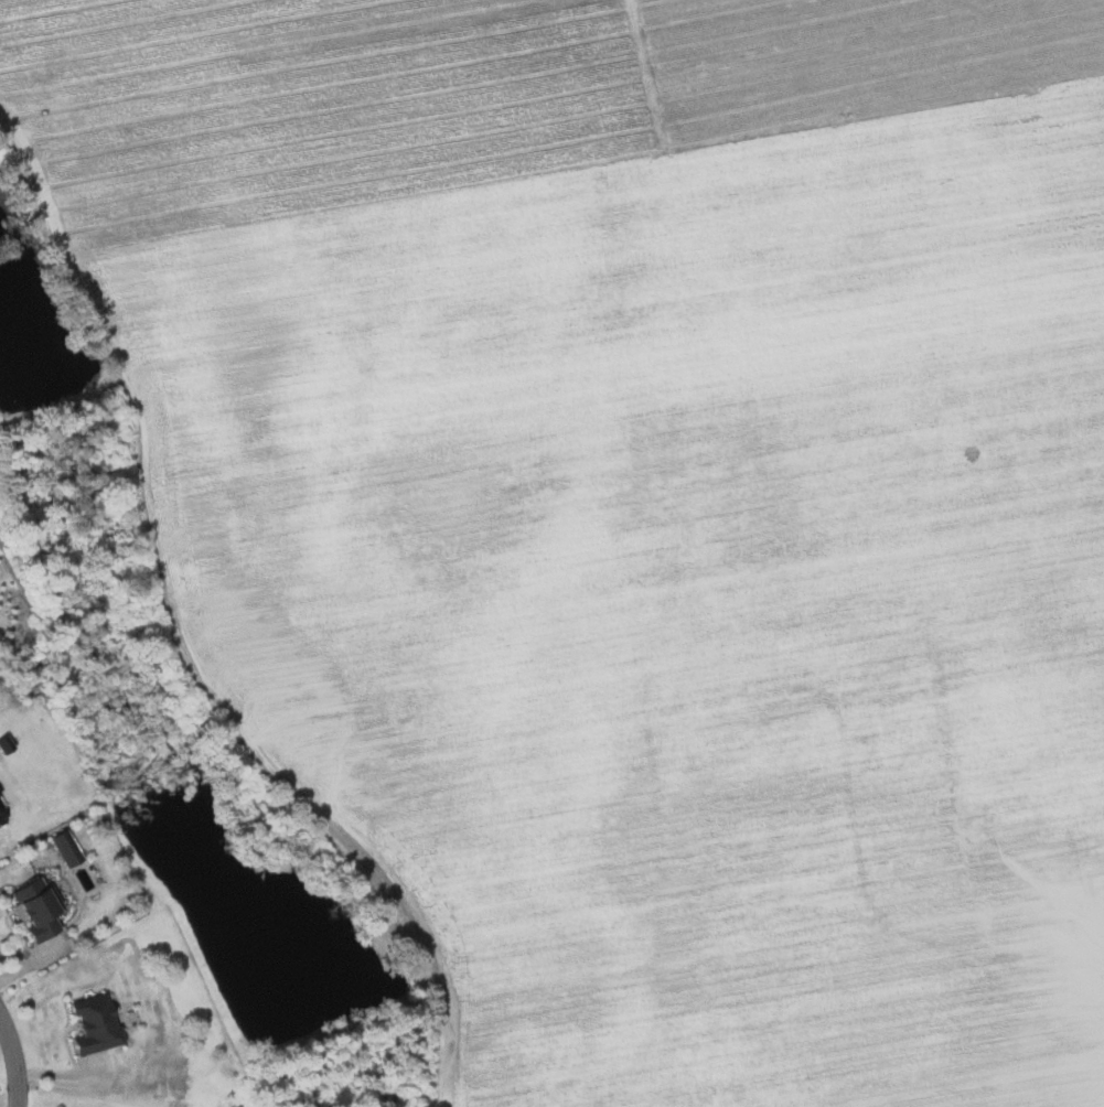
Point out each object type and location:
building: (1, 804)
building: (1, 817)
building: (0, 823)
building: (65, 848)
building: (34, 907)
building: (93, 1023)
road: (14, 1060)

